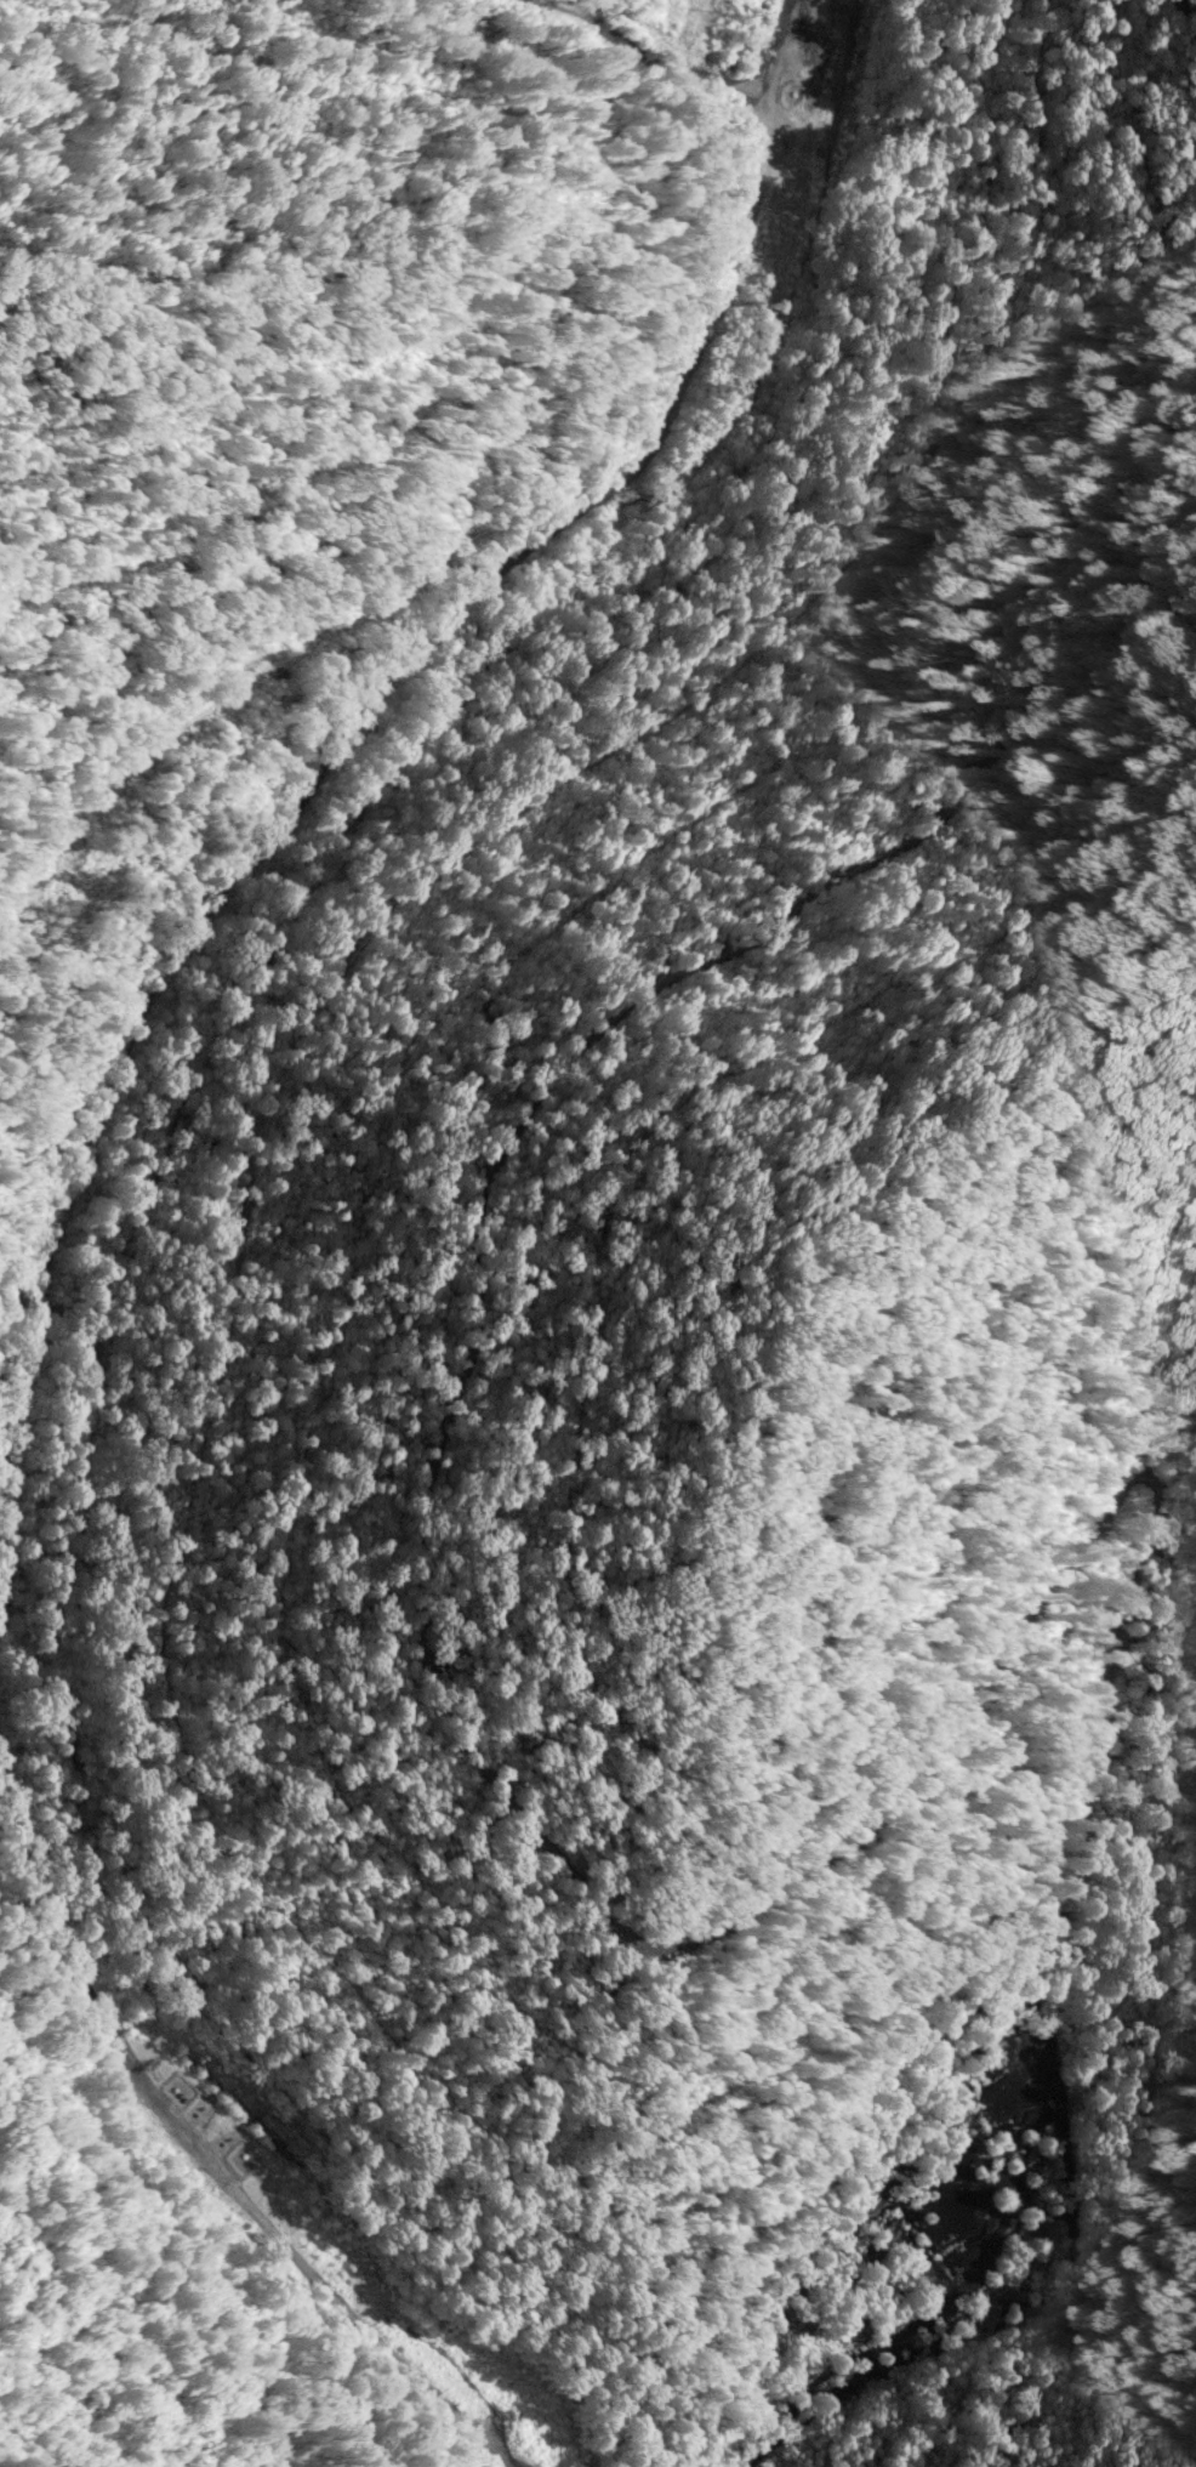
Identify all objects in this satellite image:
road: (429, 557)
road: (450, 1824)
road: (169, 2249)

